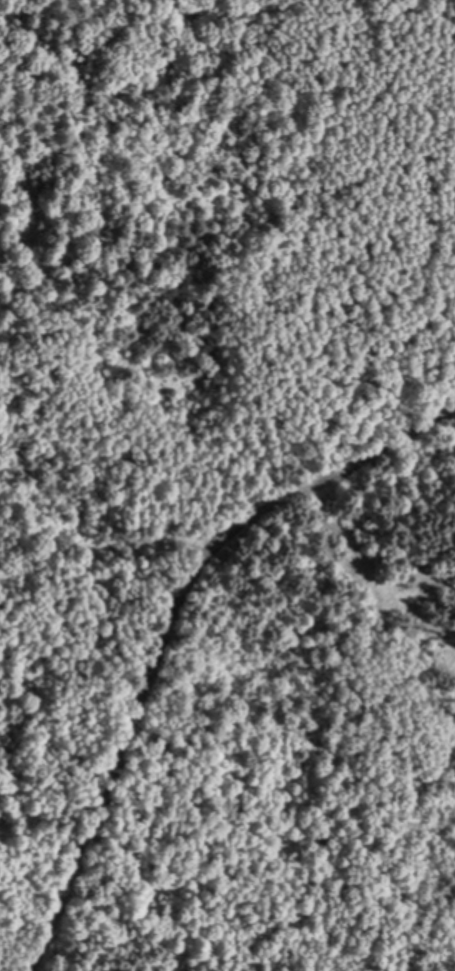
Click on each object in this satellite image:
road: (260, 5)
road: (426, 19)
road: (334, 472)
road: (106, 541)
road: (120, 754)

